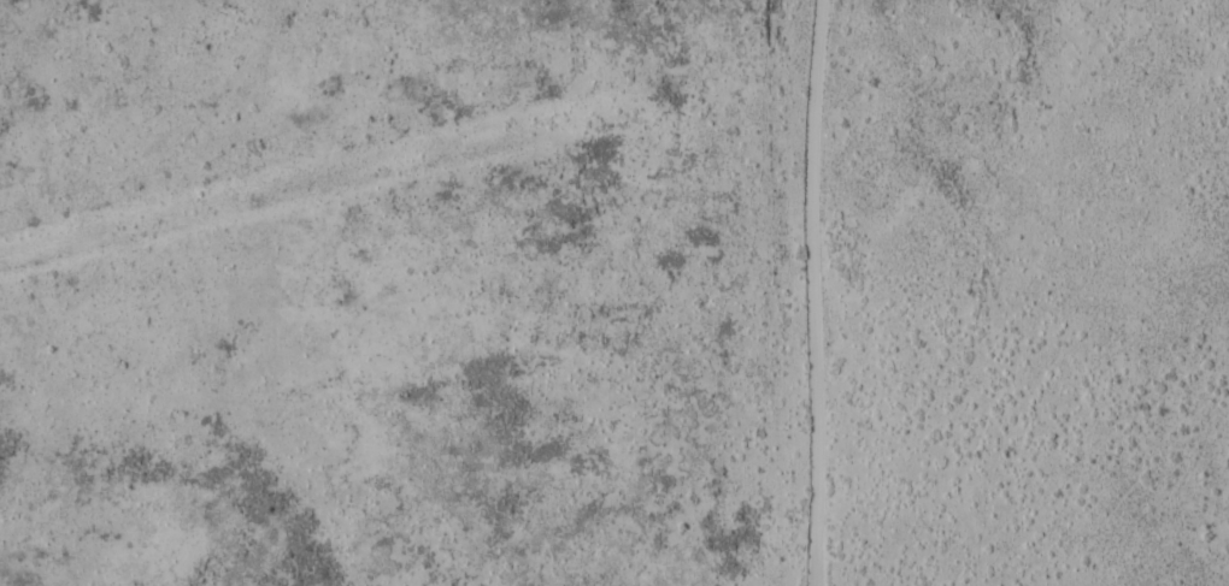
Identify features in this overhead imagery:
airport runway: (322, 184)
road: (815, 292)

